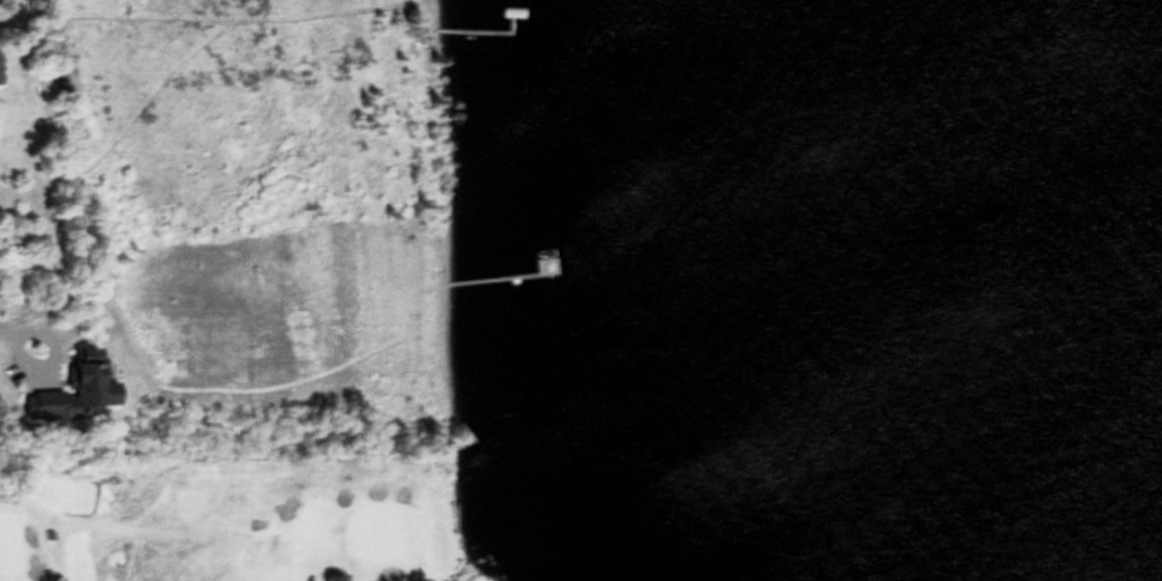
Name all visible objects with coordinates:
building: (0, 64)
park: (31, 235)

